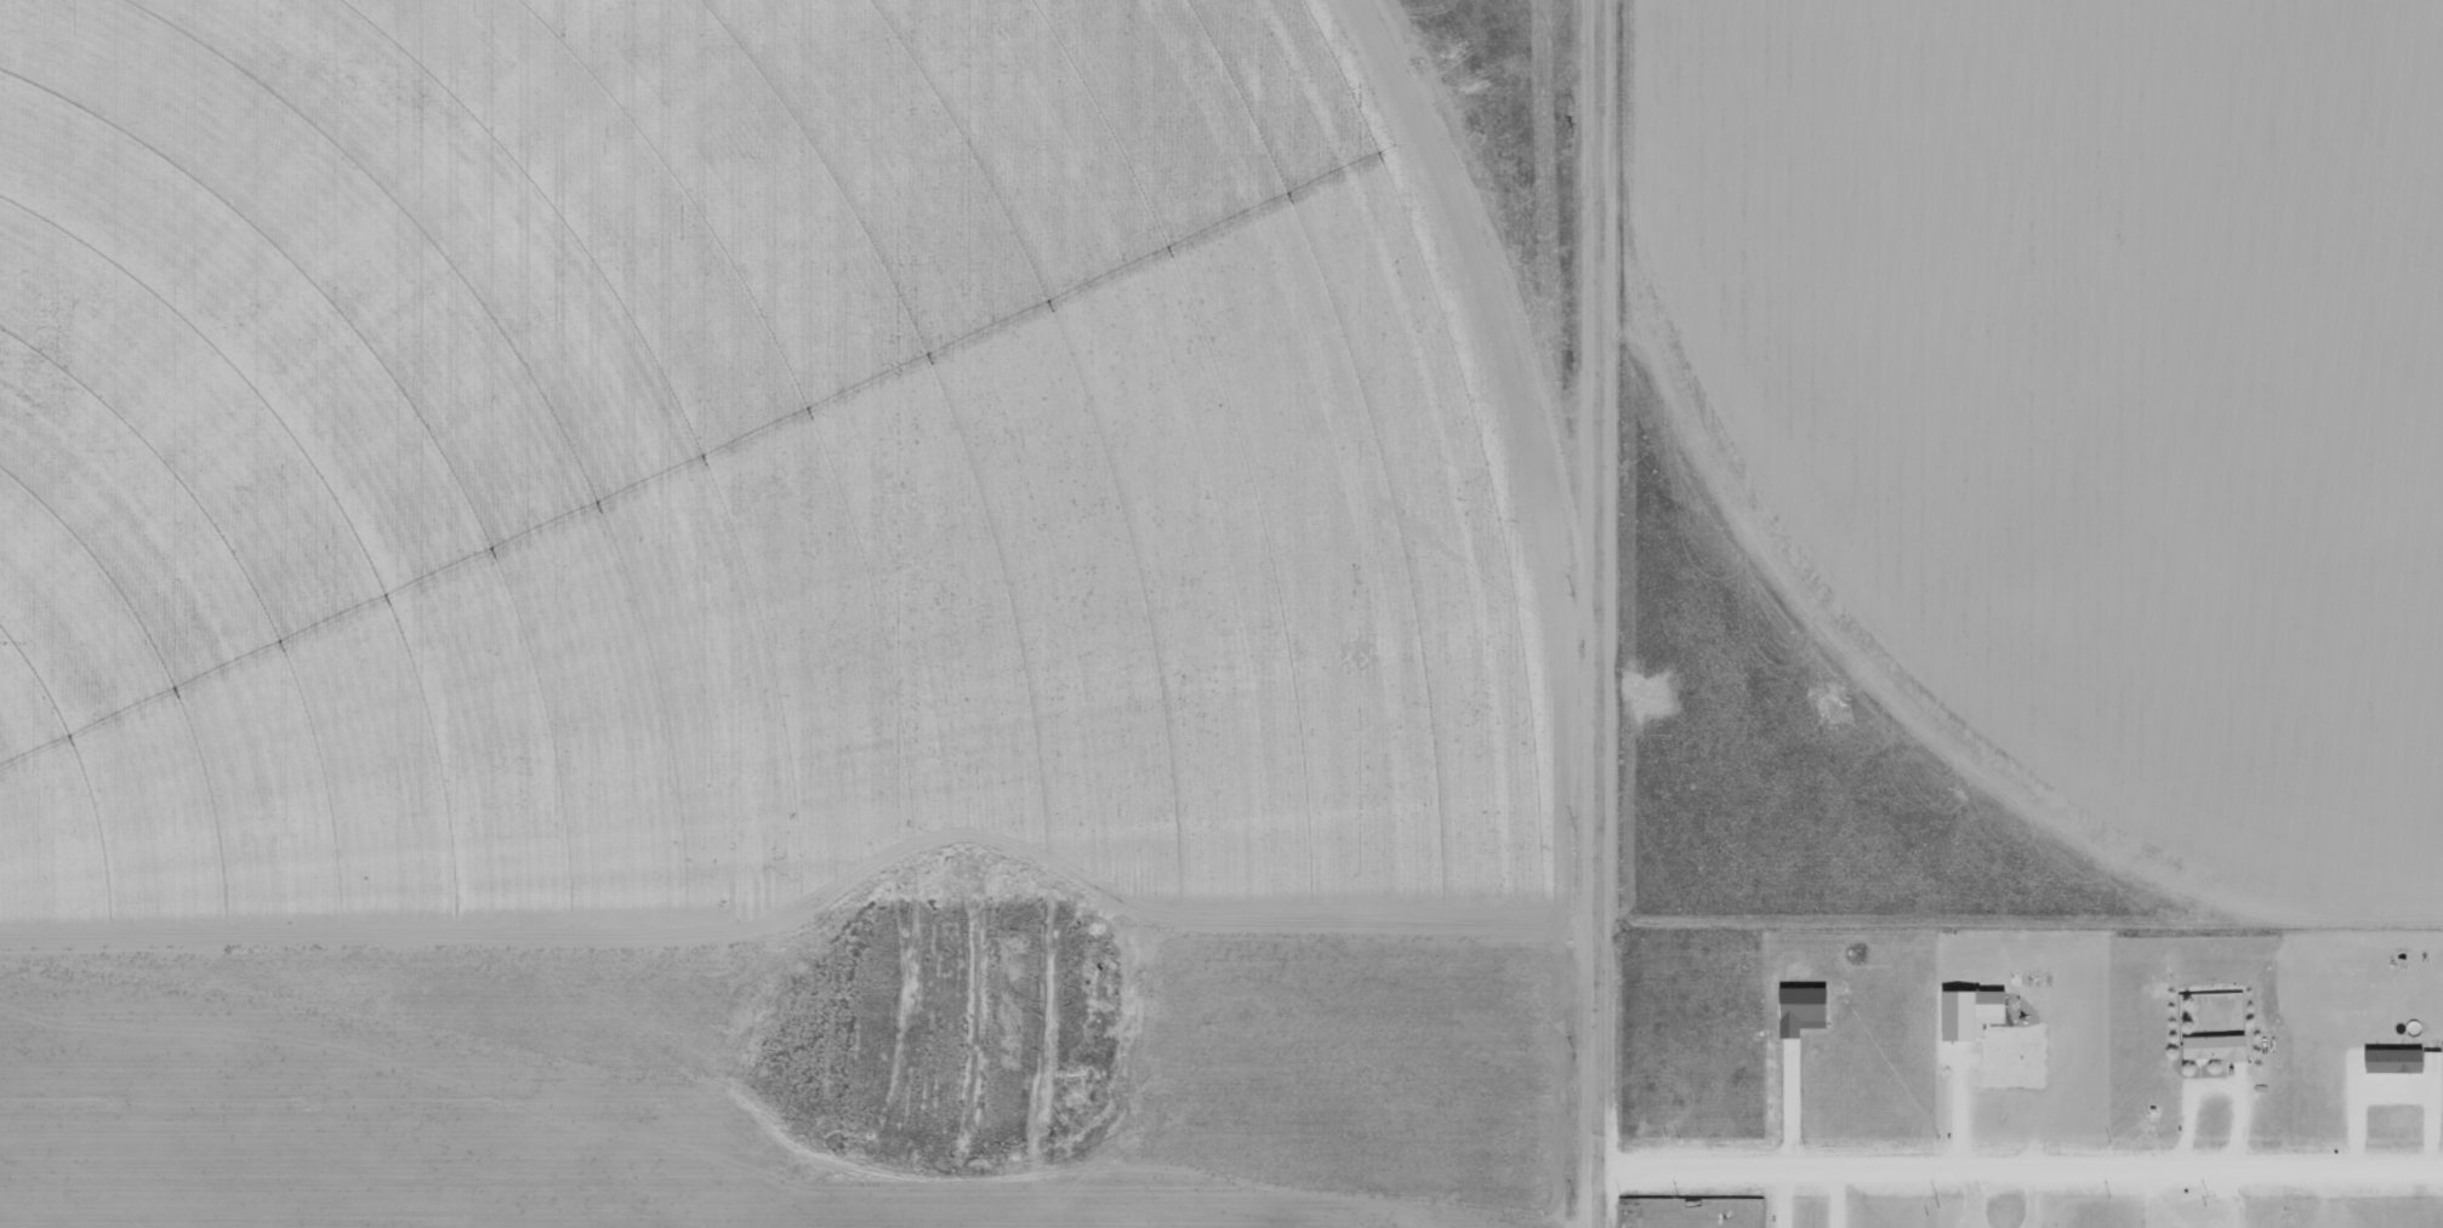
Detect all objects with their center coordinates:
road: (1589, 613)
road: (546, 776)
building: (1795, 1009)
building: (1965, 1012)
building: (2210, 1046)
building: (2388, 1059)
road: (2017, 1173)

